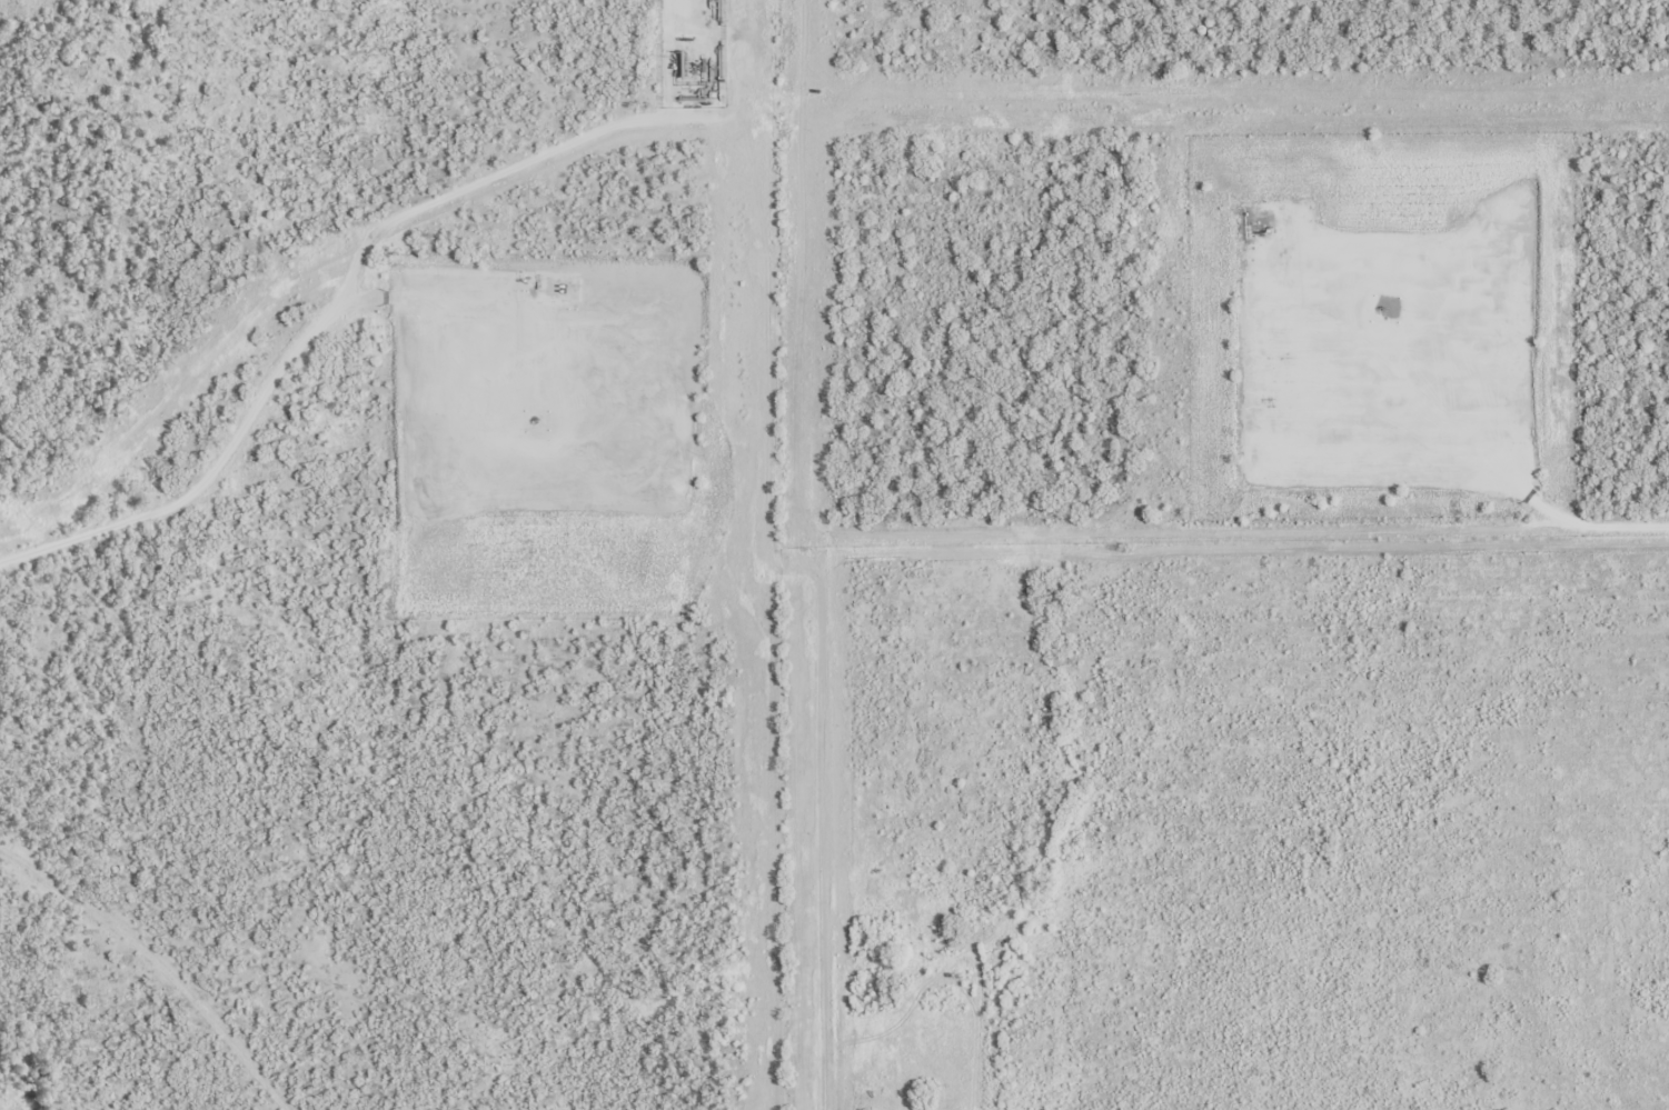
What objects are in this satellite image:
road: (1540, 507)

